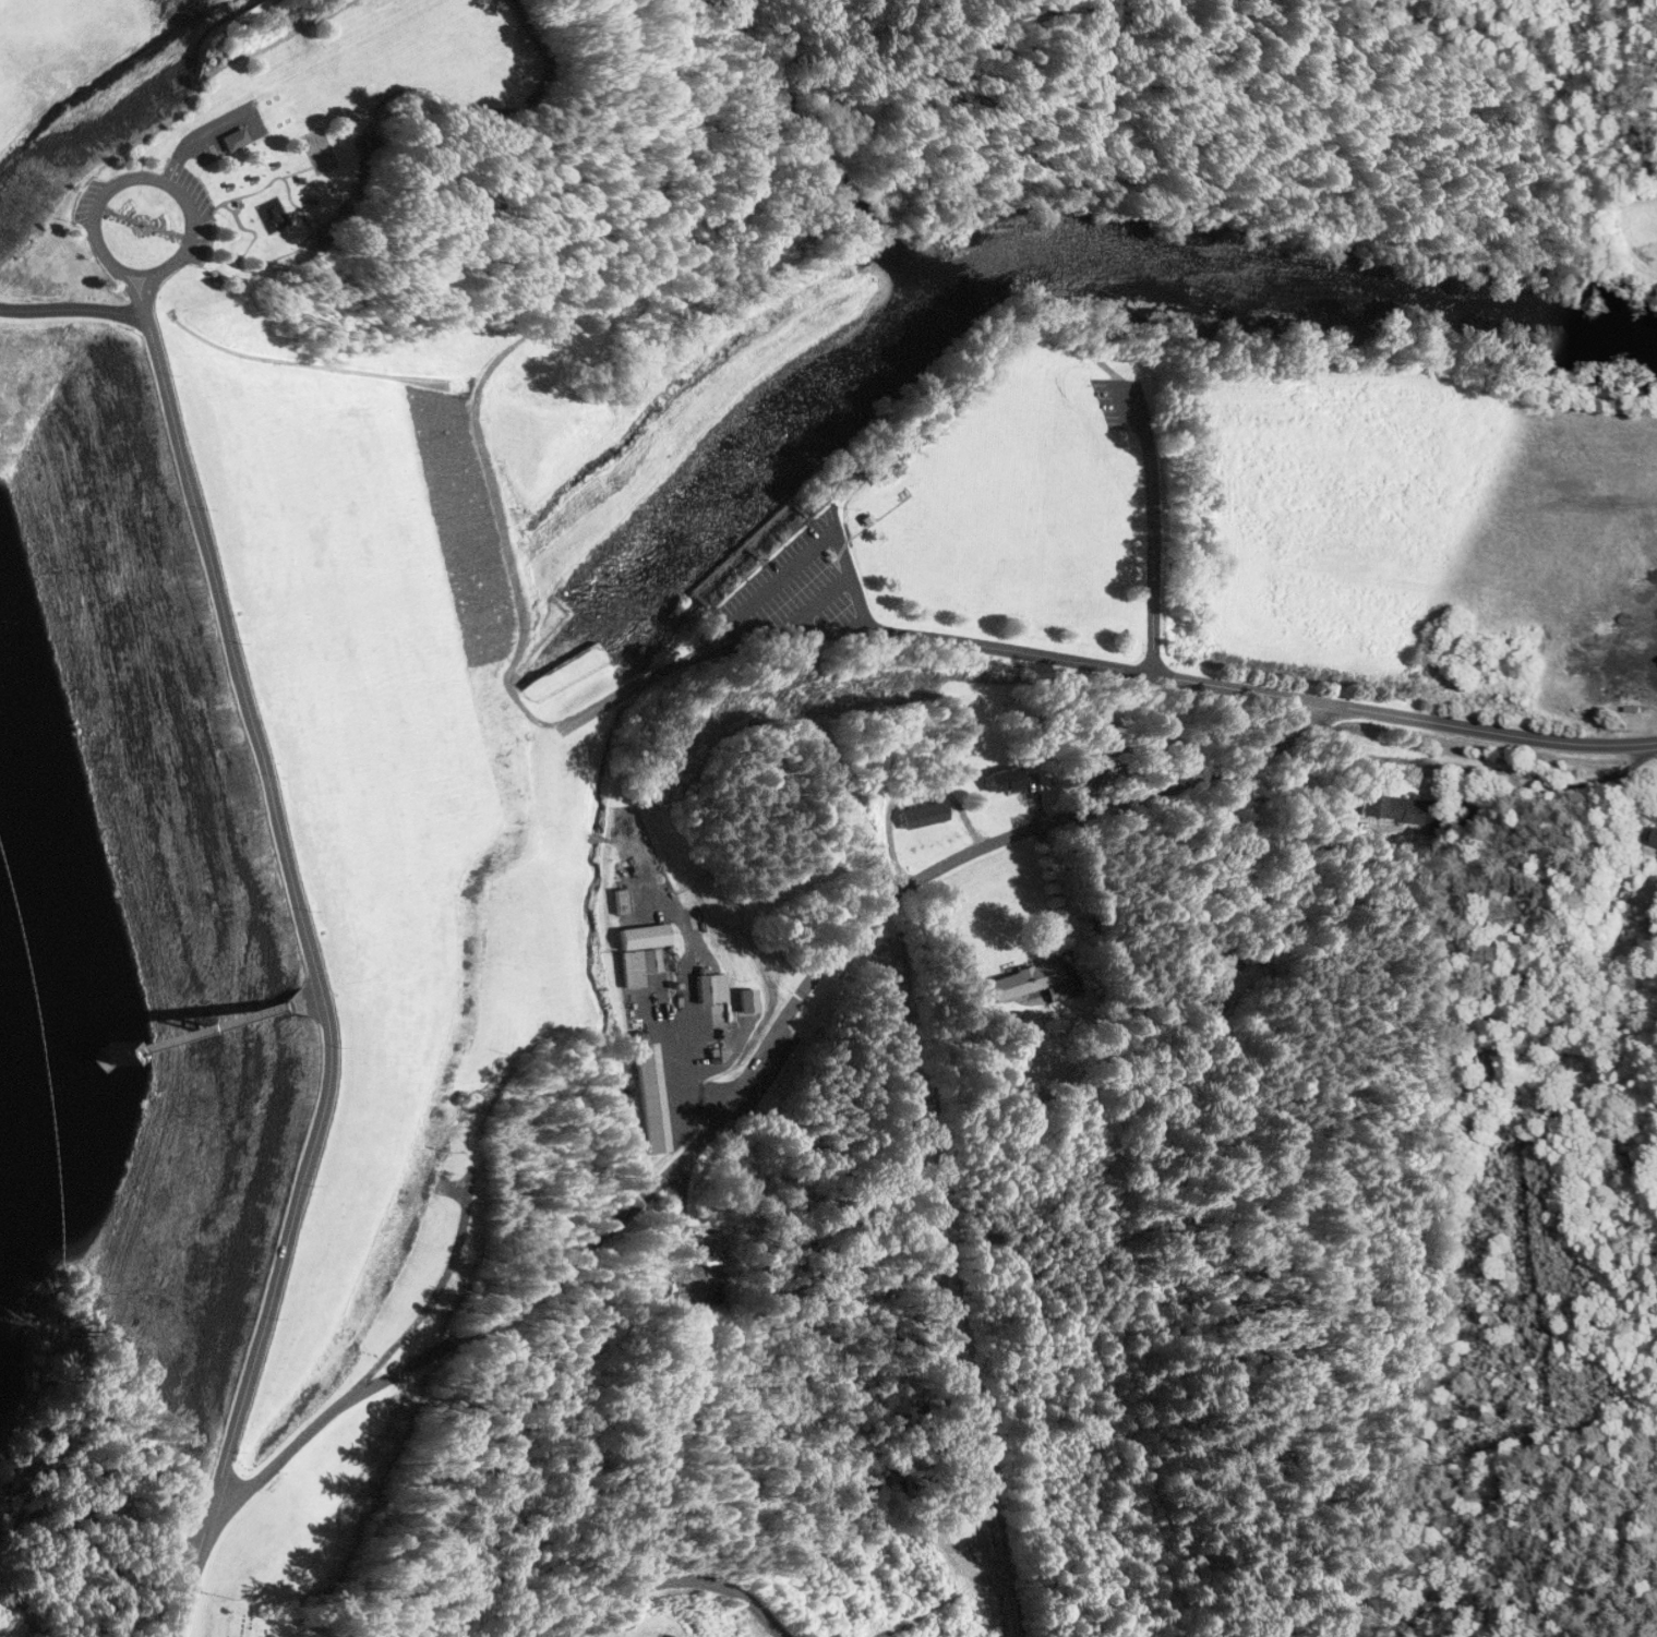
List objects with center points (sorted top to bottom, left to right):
road: (92, 75)
road: (200, 79)
road: (432, 93)
road: (627, 106)
road: (200, 133)
building: (236, 136)
building: (368, 139)
parking lot: (207, 159)
road: (1104, 173)
road: (280, 176)
parking lot: (86, 200)
road: (1586, 208)
road: (189, 210)
road: (209, 216)
road: (93, 238)
building: (316, 240)
road: (238, 266)
river: (1355, 296)
road: (71, 308)
road: (1082, 346)
road: (1127, 383)
road: (1132, 383)
parking lot: (1120, 401)
road: (479, 432)
river: (777, 452)
road: (1151, 528)
parking lot: (790, 595)
road: (940, 639)
road: (1655, 661)
road: (1240, 686)
road: (1491, 731)
building: (1140, 747)
building: (999, 780)
building: (1389, 808)
building: (918, 815)
building: (1654, 836)
river: (314, 868)
road: (286, 889)
road: (1056, 892)
building: (626, 901)
dam: (302, 904)
road: (1095, 936)
building: (646, 951)
building: (1201, 971)
building: (1022, 982)
building: (718, 995)
building: (749, 999)
road: (299, 1000)
road: (200, 1028)
road: (752, 1064)
river: (58, 1090)
building: (652, 1097)
building: (688, 1283)
road: (192, 1570)
road: (686, 1579)

